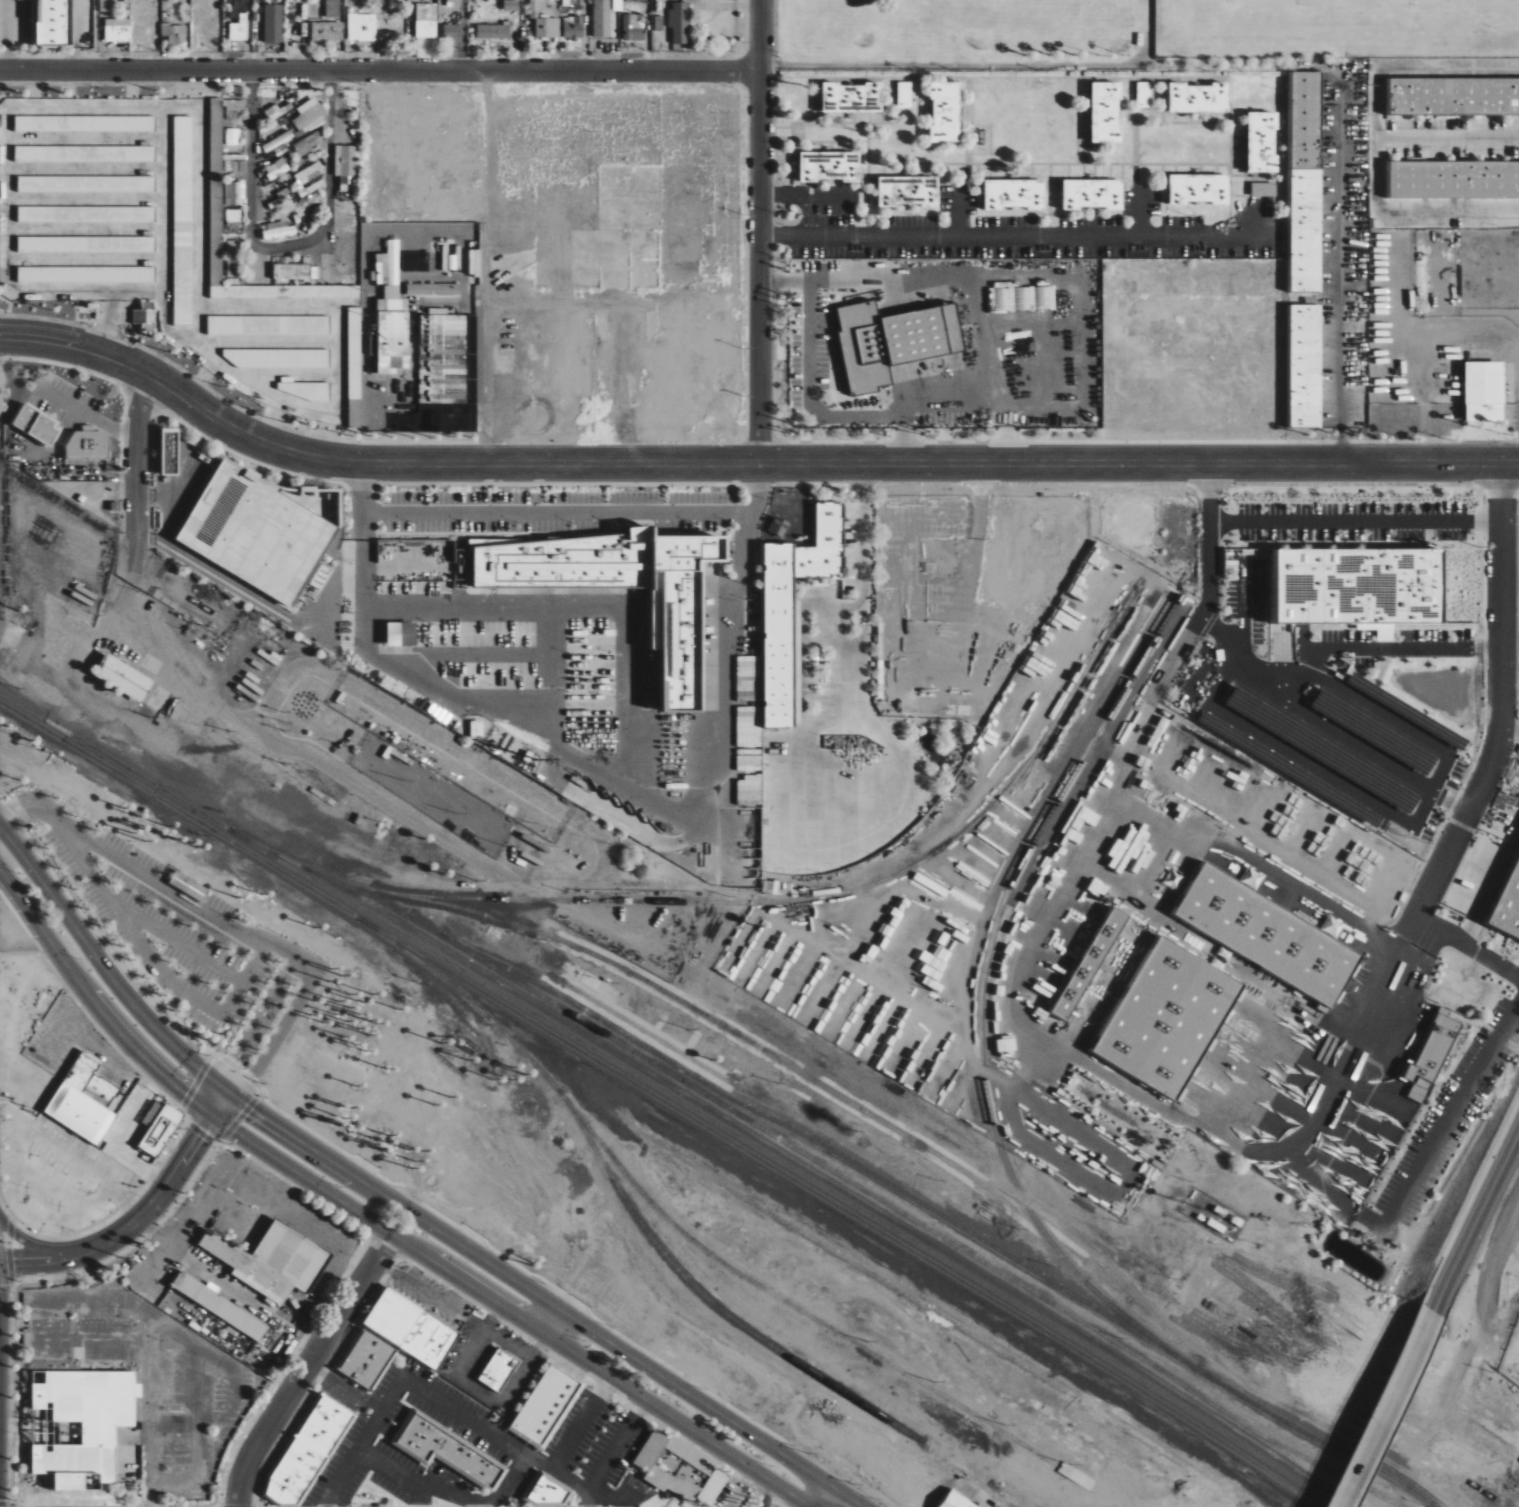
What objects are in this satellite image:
building: (510, 5)
building: (617, 5)
building: (333, 8)
building: (602, 18)
building: (426, 20)
building: (544, 22)
building: (680, 22)
building: (49, 23)
building: (273, 23)
building: (238, 26)
building: (361, 27)
building: (573, 27)
building: (632, 28)
building: (118, 29)
building: (327, 31)
building: (493, 31)
road: (4, 32)
building: (451, 32)
road: (75, 33)
building: (175, 33)
road: (381, 64)
building: (905, 94)
building: (1144, 94)
building: (1454, 96)
building: (852, 97)
building: (1200, 98)
building: (945, 111)
building: (1106, 112)
building: (309, 117)
building: (82, 123)
building: (232, 136)
road: (1447, 137)
building: (277, 141)
building: (1262, 142)
road: (1375, 142)
building: (310, 144)
building: (82, 154)
building: (346, 166)
building: (830, 166)
building: (277, 168)
building: (311, 176)
building: (1454, 179)
building: (1306, 181)
building: (83, 183)
building: (1199, 189)
building: (1263, 189)
building: (908, 191)
building: (214, 192)
building: (233, 193)
building: (1014, 194)
building: (1093, 194)
road: (809, 195)
road: (956, 207)
building: (84, 214)
building: (233, 217)
building: (181, 220)
building: (279, 230)
road: (764, 230)
road: (1013, 234)
building: (84, 244)
road: (285, 247)
building: (233, 255)
building: (389, 265)
road: (1338, 265)
building: (292, 271)
building: (84, 274)
building: (433, 289)
building: (282, 292)
building: (390, 299)
building: (1024, 299)
road: (262, 308)
building: (146, 316)
road: (107, 322)
building: (266, 325)
building: (392, 341)
building: (893, 341)
building: (276, 358)
building: (1306, 365)
building: (352, 366)
building: (446, 370)
building: (305, 390)
building: (1485, 392)
road: (849, 413)
building: (36, 425)
road: (903, 436)
building: (88, 445)
building: (170, 451)
road: (745, 461)
road: (798, 491)
road: (141, 500)
road: (556, 514)
road: (861, 516)
road: (1324, 521)
building: (778, 527)
building: (257, 532)
road: (743, 544)
building: (1361, 588)
building: (794, 611)
building: (676, 619)
building: (401, 634)
road: (479, 652)
road: (556, 673)
building: (122, 678)
road: (630, 688)
building: (747, 715)
road: (1508, 728)
building: (476, 729)
road: (724, 730)
road: (1490, 757)
building: (749, 790)
road: (155, 882)
building: (187, 886)
railway: (846, 892)
building: (1510, 909)
building: (1268, 932)
road: (28, 950)
road: (93, 954)
building: (1089, 966)
building: (795, 984)
railway: (982, 987)
road: (84, 989)
railway: (674, 997)
road: (122, 1018)
building: (851, 1019)
building: (1169, 1019)
road: (255, 1023)
railway: (644, 1025)
road: (277, 1036)
building: (1430, 1056)
traffic signals: (233, 1061)
road: (214, 1083)
traffic signals: (191, 1086)
road: (209, 1092)
railway: (669, 1095)
traffic signals: (185, 1097)
building: (84, 1100)
railway: (661, 1101)
road: (240, 1102)
road: (221, 1105)
road: (199, 1107)
traffic signals: (252, 1110)
road: (1450, 1112)
road: (229, 1115)
traffic signals: (245, 1119)
road: (224, 1124)
road: (207, 1127)
building: (161, 1130)
traffic signals: (200, 1138)
building: (38, 1153)
railway: (818, 1162)
road: (325, 1170)
road: (363, 1170)
railway: (952, 1222)
road: (1476, 1223)
road: (120, 1233)
road: (470, 1240)
railway: (694, 1243)
building: (273, 1260)
road: (424, 1264)
road: (472, 1273)
road: (461, 1288)
building: (220, 1305)
road: (556, 1308)
road: (497, 1312)
road: (515, 1315)
building: (411, 1328)
railway: (746, 1328)
building: (368, 1360)
road: (151, 1361)
road: (309, 1369)
building: (498, 1369)
road: (271, 1373)
road: (346, 1387)
road: (609, 1387)
road: (503, 1395)
building: (546, 1405)
road: (1386, 1410)
building: (84, 1424)
road: (13, 1425)
road: (490, 1434)
road: (363, 1438)
road: (570, 1440)
building: (447, 1450)
building: (309, 1452)
road: (604, 1464)
building: (680, 1468)
road: (1077, 1477)
road: (416, 1481)
road: (1047, 1485)
road: (761, 1487)
road: (816, 1489)
building: (548, 1490)
road: (1133, 1496)
road: (1109, 1497)
road: (587, 1498)
road: (608, 1499)
building: (957, 1500)
road: (804, 1502)
road: (1071, 1504)

